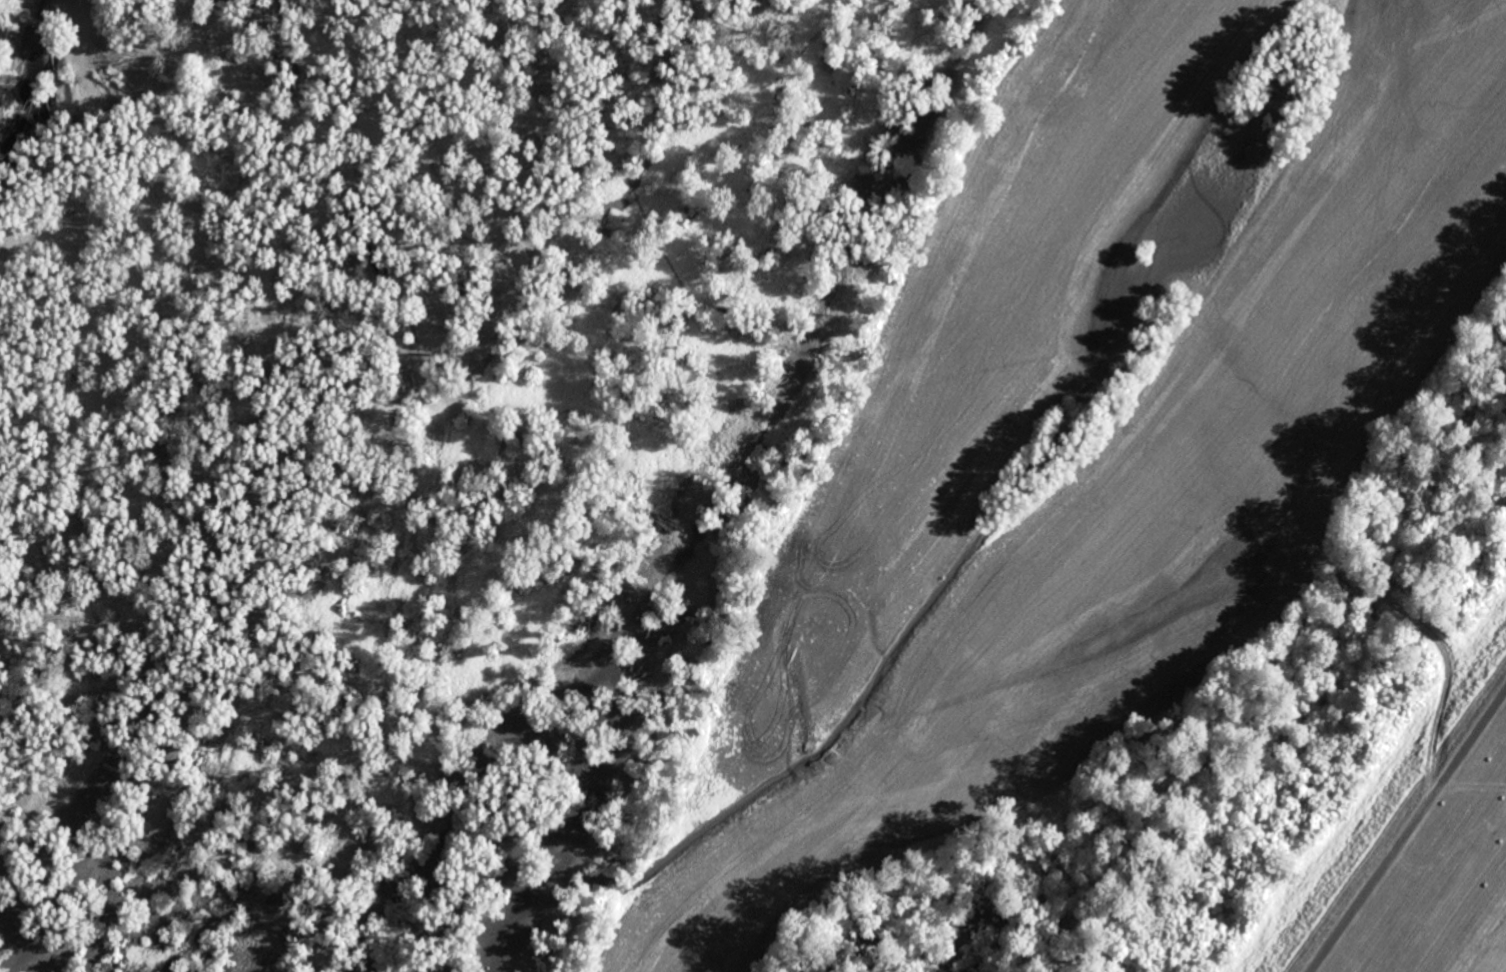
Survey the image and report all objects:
road: (1409, 834)

